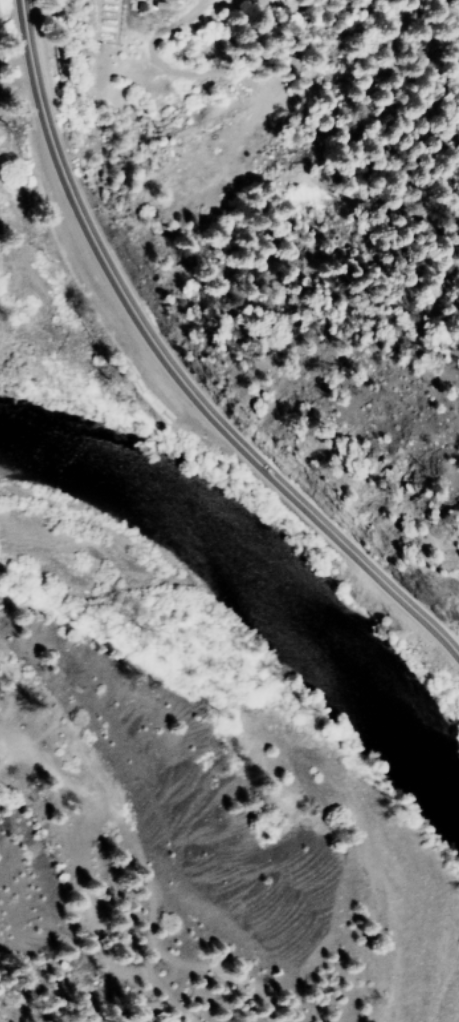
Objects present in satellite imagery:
building: (292, 67)
road: (172, 370)
river: (250, 613)

